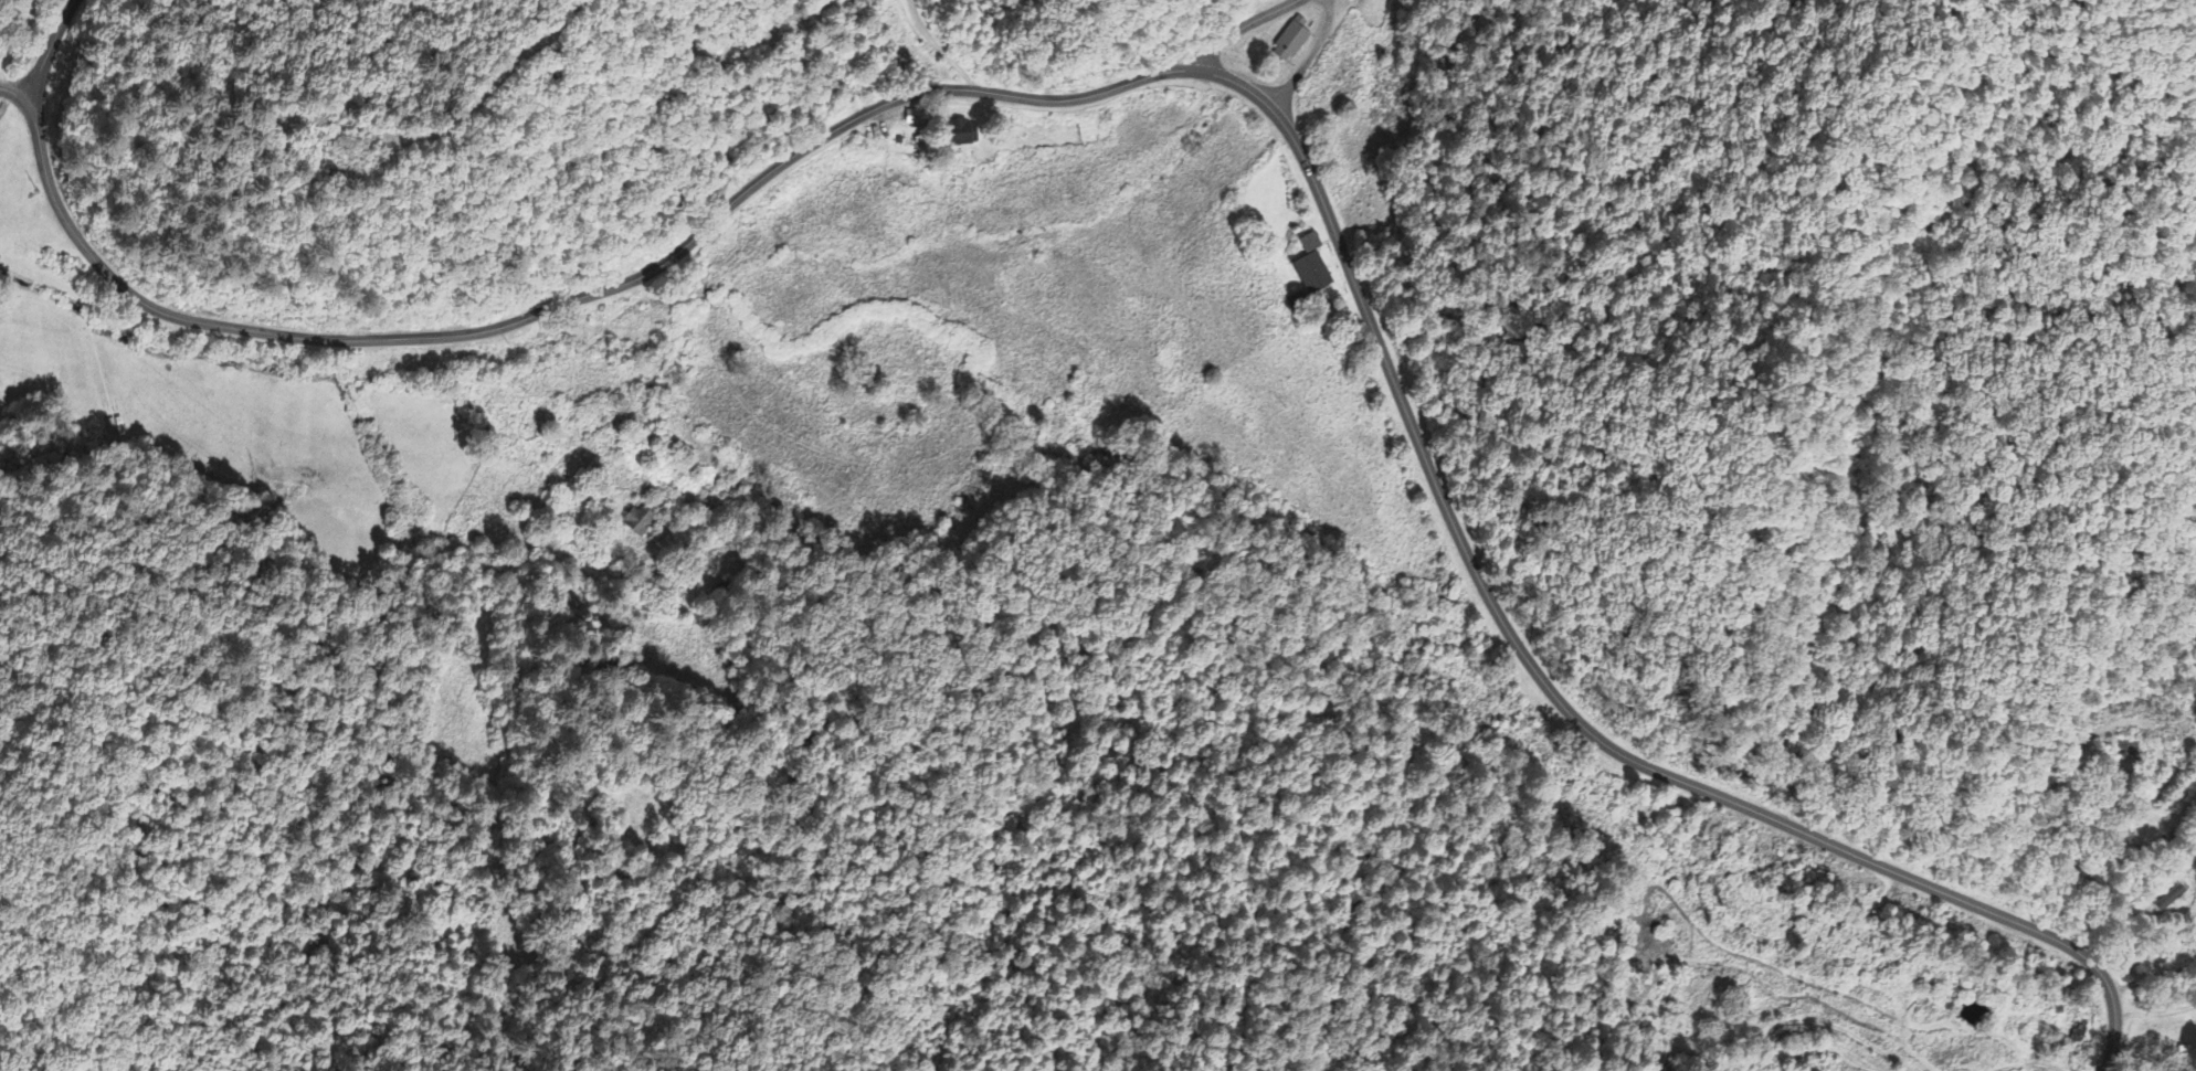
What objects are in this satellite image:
building: (1356, 1)
road: (1238, 29)
building: (1292, 43)
road: (937, 49)
road: (49, 50)
road: (14, 92)
building: (969, 136)
building: (1311, 246)
building: (1313, 276)
road: (620, 284)
road: (1636, 686)
road: (2166, 918)

